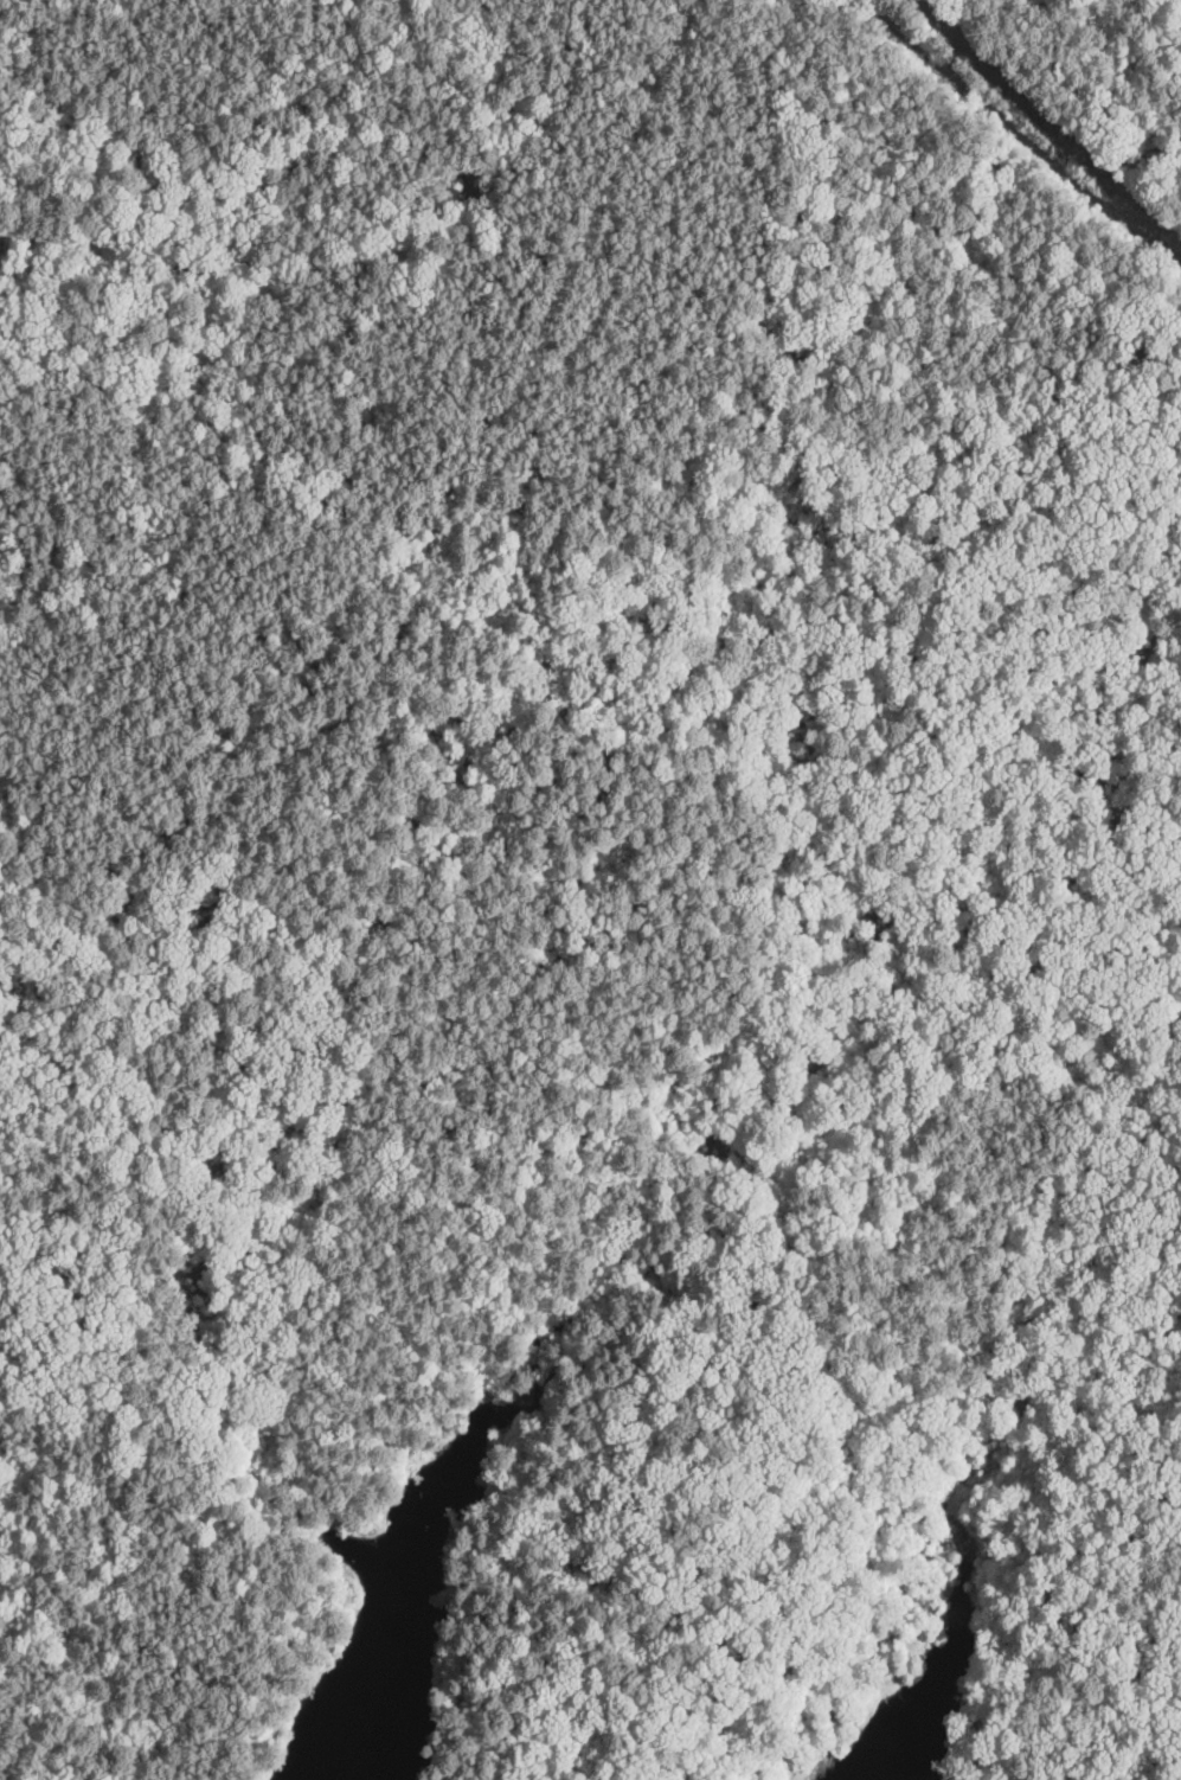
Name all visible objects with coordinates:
road: (1020, 135)
park: (591, 876)

